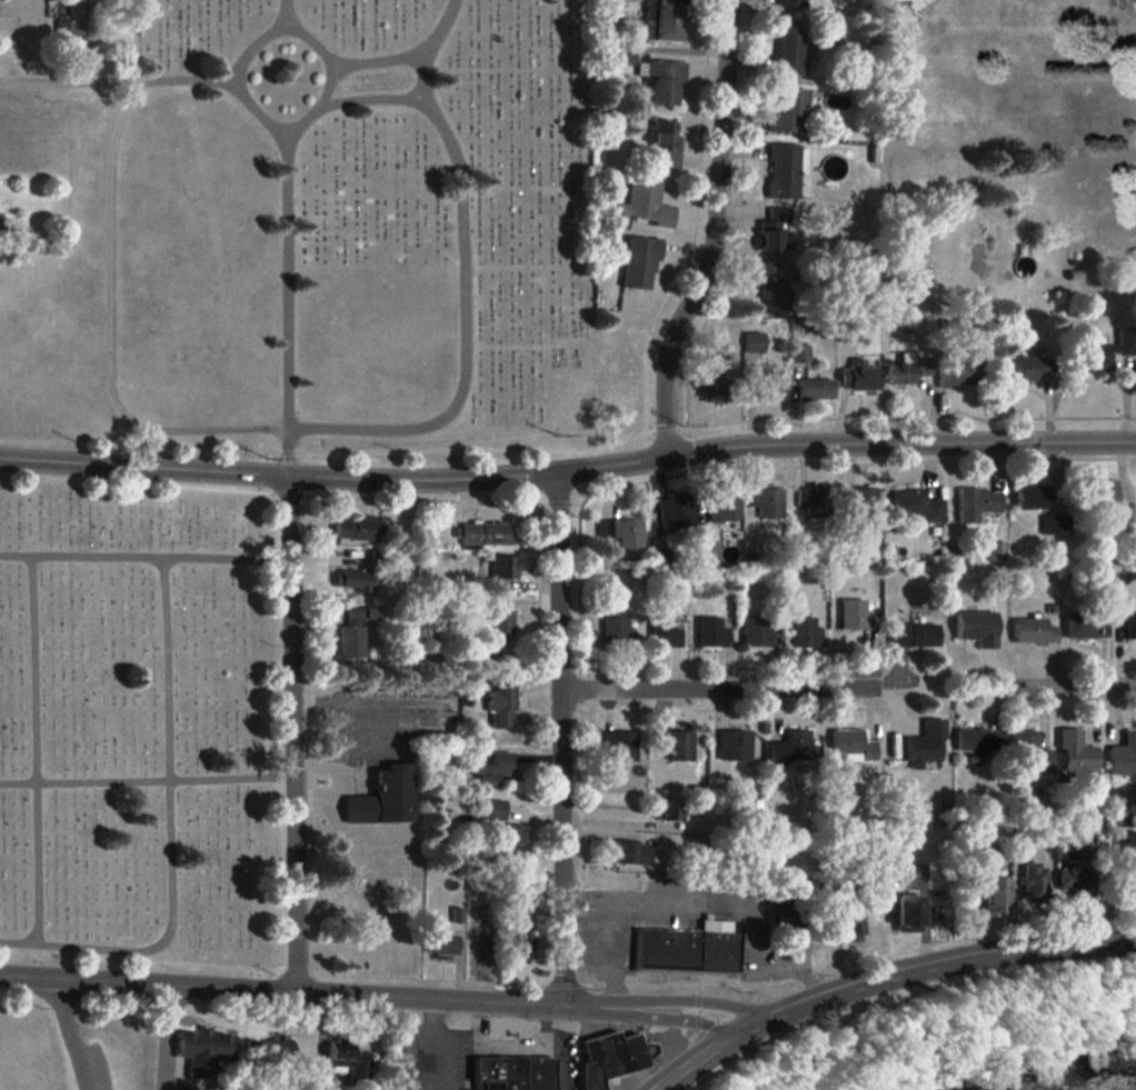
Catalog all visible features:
building: (789, 2)
road: (282, 11)
building: (662, 20)
building: (70, 24)
building: (787, 46)
road: (405, 56)
road: (118, 81)
road: (369, 99)
building: (786, 109)
road: (281, 121)
building: (664, 143)
building: (783, 169)
building: (645, 203)
road: (713, 229)
building: (775, 229)
park: (343, 234)
building: (639, 261)
building: (771, 286)
road: (286, 296)
building: (850, 331)
building: (754, 341)
building: (1103, 351)
building: (799, 352)
building: (908, 368)
building: (958, 371)
building: (858, 376)
building: (769, 383)
building: (713, 386)
building: (815, 388)
road: (301, 429)
road: (568, 463)
building: (1102, 493)
building: (1032, 497)
building: (767, 501)
building: (815, 501)
building: (976, 502)
building: (916, 504)
building: (724, 506)
building: (865, 507)
building: (676, 511)
building: (1126, 512)
building: (1055, 523)
building: (359, 528)
building: (622, 531)
building: (485, 533)
building: (709, 550)
building: (997, 550)
road: (143, 556)
building: (502, 569)
building: (356, 579)
building: (855, 614)
building: (1125, 614)
building: (1085, 624)
building: (976, 626)
building: (617, 630)
building: (1032, 630)
building: (353, 631)
building: (710, 631)
building: (758, 631)
building: (497, 632)
building: (665, 632)
building: (804, 632)
building: (913, 633)
road: (713, 684)
road: (1080, 687)
park: (140, 729)
road: (291, 730)
road: (560, 733)
building: (979, 739)
building: (925, 742)
building: (853, 743)
building: (619, 744)
building: (679, 744)
building: (734, 744)
building: (1025, 747)
building: (789, 748)
road: (33, 749)
building: (1075, 752)
building: (1123, 754)
building: (495, 768)
road: (146, 780)
building: (382, 797)
building: (668, 808)
building: (494, 809)
road: (168, 832)
building: (511, 841)
building: (1129, 849)
building: (630, 851)
building: (1065, 851)
building: (986, 852)
building: (1072, 878)
building: (1033, 881)
building: (995, 893)
road: (690, 897)
building: (908, 910)
building: (849, 921)
building: (786, 923)
building: (518, 948)
road: (586, 948)
road: (920, 970)
road: (302, 990)
road: (686, 1000)
road: (667, 1020)
road: (69, 1031)
road: (420, 1041)
road: (535, 1042)
building: (270, 1047)
building: (205, 1049)
road: (707, 1052)
building: (606, 1057)
parking lot: (431, 1058)
building: (348, 1060)
road: (558, 1063)
building: (510, 1072)
road: (675, 1074)

